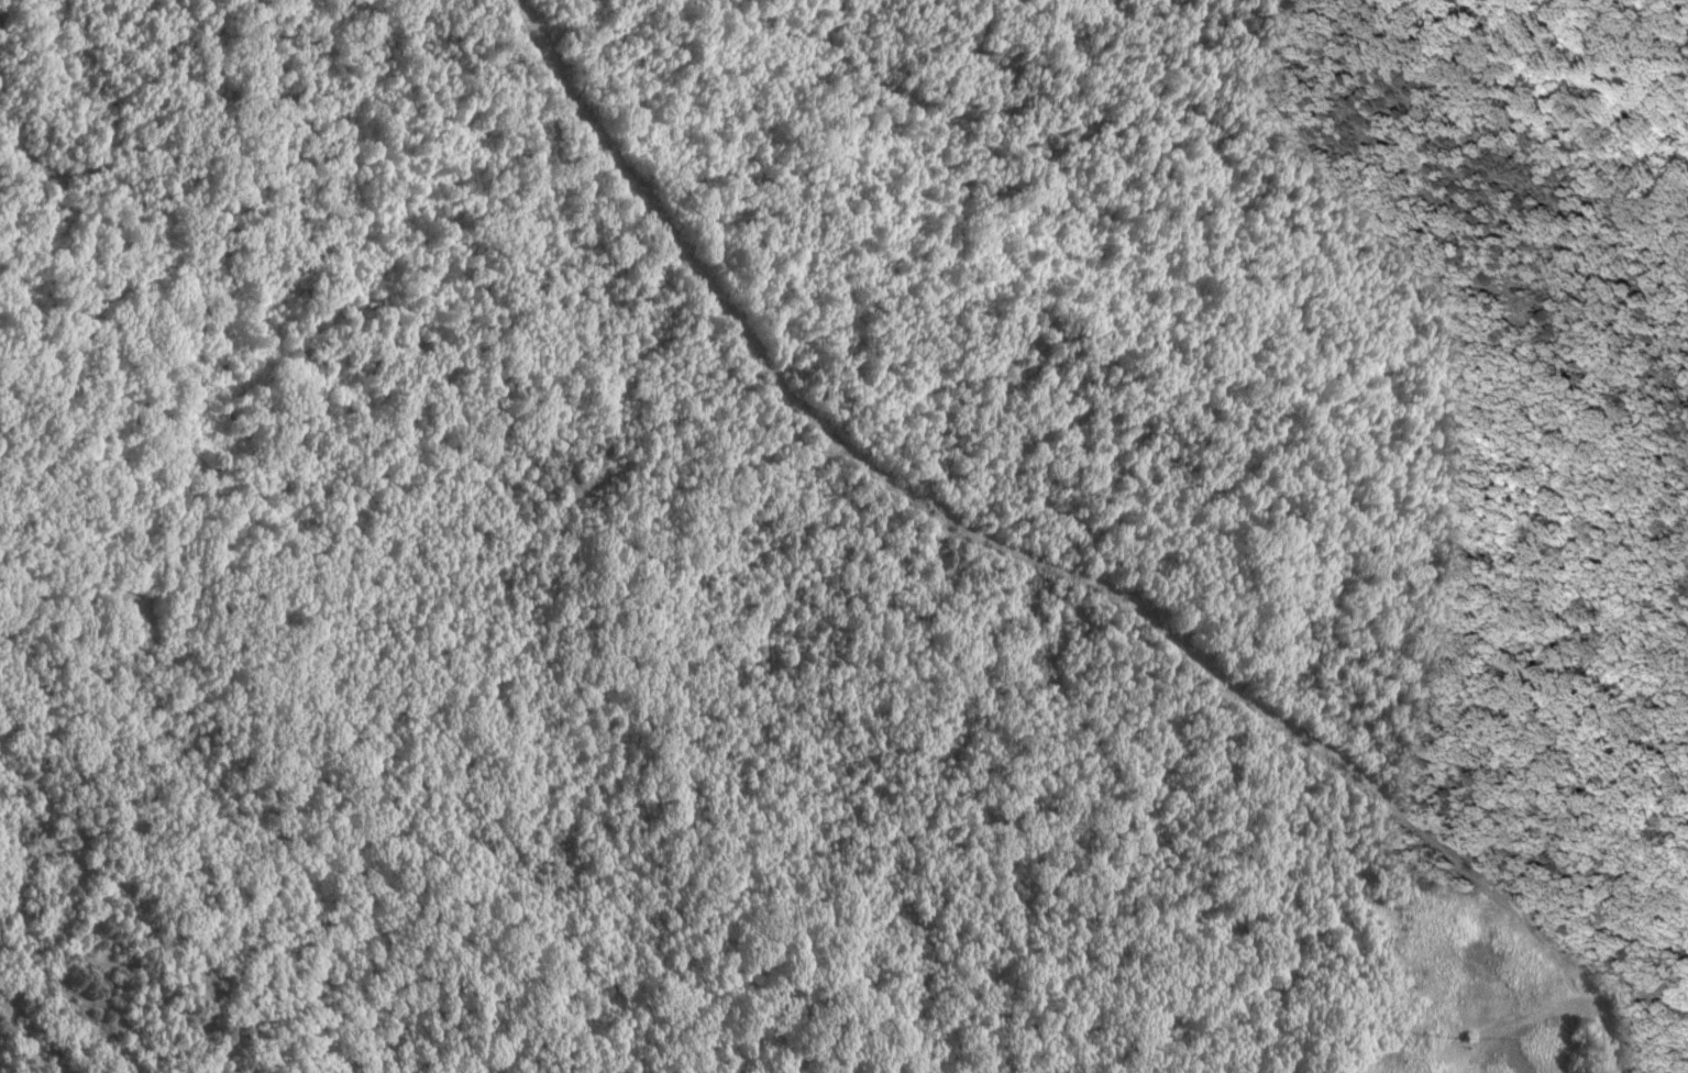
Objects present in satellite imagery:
building: (1466, 1038)

